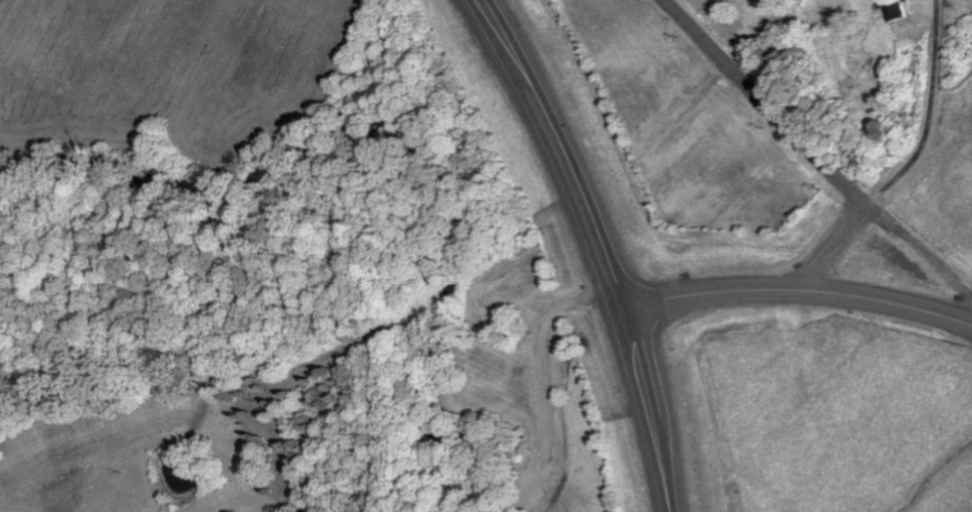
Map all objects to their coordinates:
building: (895, 10)
road: (795, 139)
road: (550, 149)
road: (928, 155)
road: (793, 289)
road: (644, 408)

